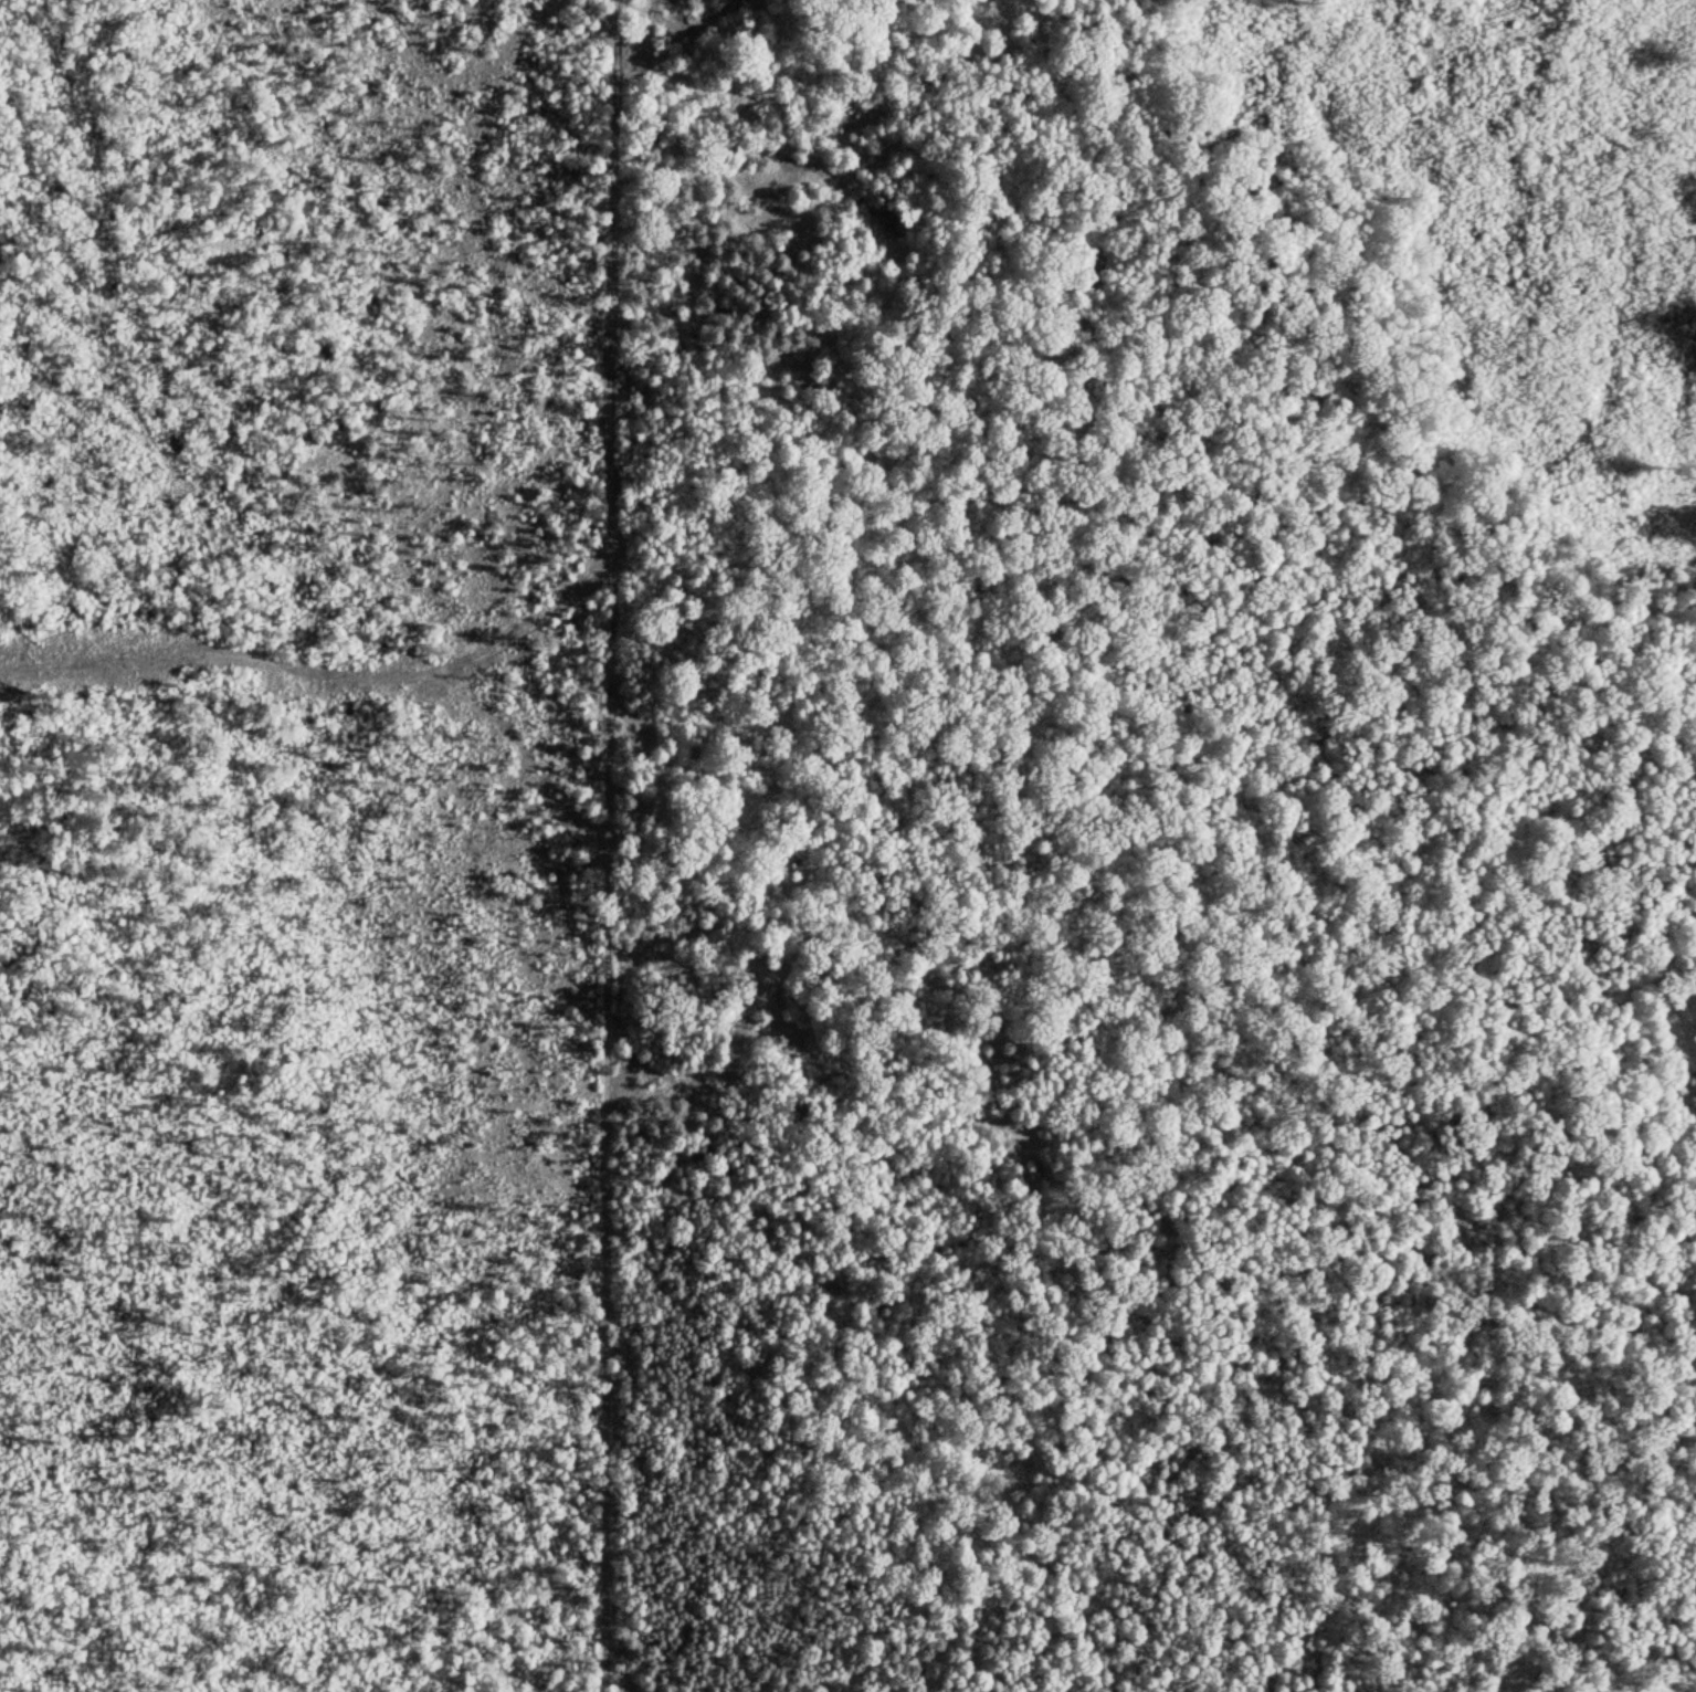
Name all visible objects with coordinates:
road: (613, 498)
road: (607, 1345)

